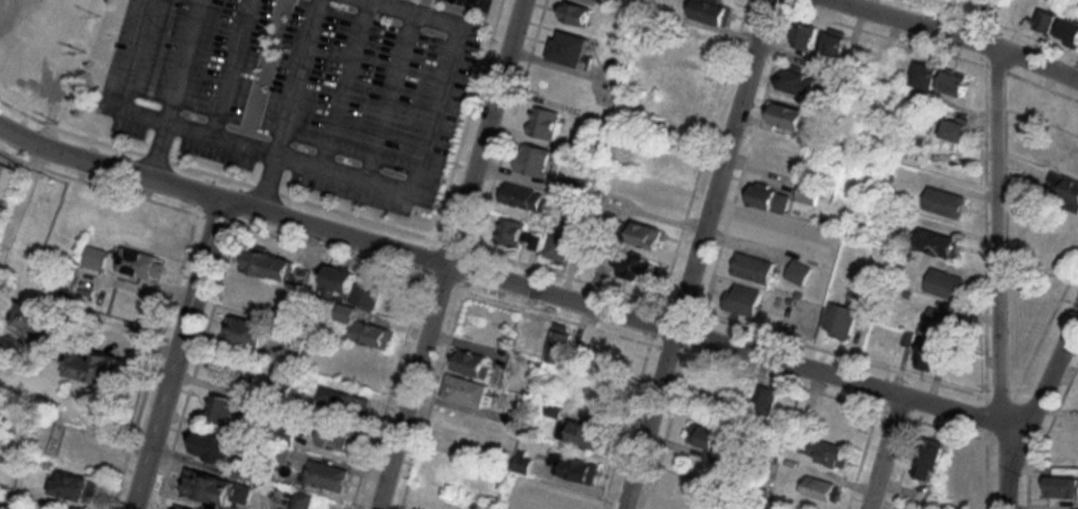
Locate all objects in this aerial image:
building: (708, 11)
building: (574, 14)
building: (1045, 20)
building: (1067, 30)
building: (802, 36)
road: (954, 37)
building: (26, 38)
building: (831, 44)
building: (566, 48)
building: (897, 65)
road: (228, 68)
building: (923, 73)
building: (793, 79)
building: (951, 82)
road: (343, 83)
building: (683, 83)
road: (177, 89)
parking lot: (300, 90)
road: (388, 94)
road: (288, 105)
building: (783, 113)
building: (544, 124)
building: (953, 129)
building: (532, 160)
road: (109, 167)
road: (336, 170)
building: (1068, 183)
building: (807, 192)
building: (523, 197)
building: (766, 199)
building: (943, 202)
building: (2, 213)
building: (508, 233)
building: (643, 235)
road: (998, 242)
building: (934, 244)
building: (558, 245)
road: (452, 253)
road: (697, 255)
building: (94, 258)
building: (137, 264)
building: (266, 264)
building: (751, 267)
building: (632, 268)
building: (797, 272)
building: (300, 276)
building: (335, 280)
building: (943, 283)
building: (364, 295)
building: (741, 299)
building: (255, 302)
road: (619, 314)
building: (839, 318)
building: (244, 333)
building: (370, 335)
building: (531, 337)
building: (934, 340)
building: (557, 344)
road: (178, 354)
building: (363, 358)
building: (611, 360)
building: (471, 364)
building: (93, 367)
road: (1051, 378)
building: (467, 392)
building: (764, 400)
building: (344, 404)
building: (222, 410)
building: (581, 434)
building: (335, 438)
building: (705, 442)
building: (213, 448)
building: (77, 450)
building: (821, 452)
road: (886, 453)
building: (946, 467)
building: (572, 468)
road: (1014, 470)
building: (325, 477)
building: (72, 488)
building: (816, 488)
building: (1060, 488)
building: (215, 490)
building: (177, 508)

